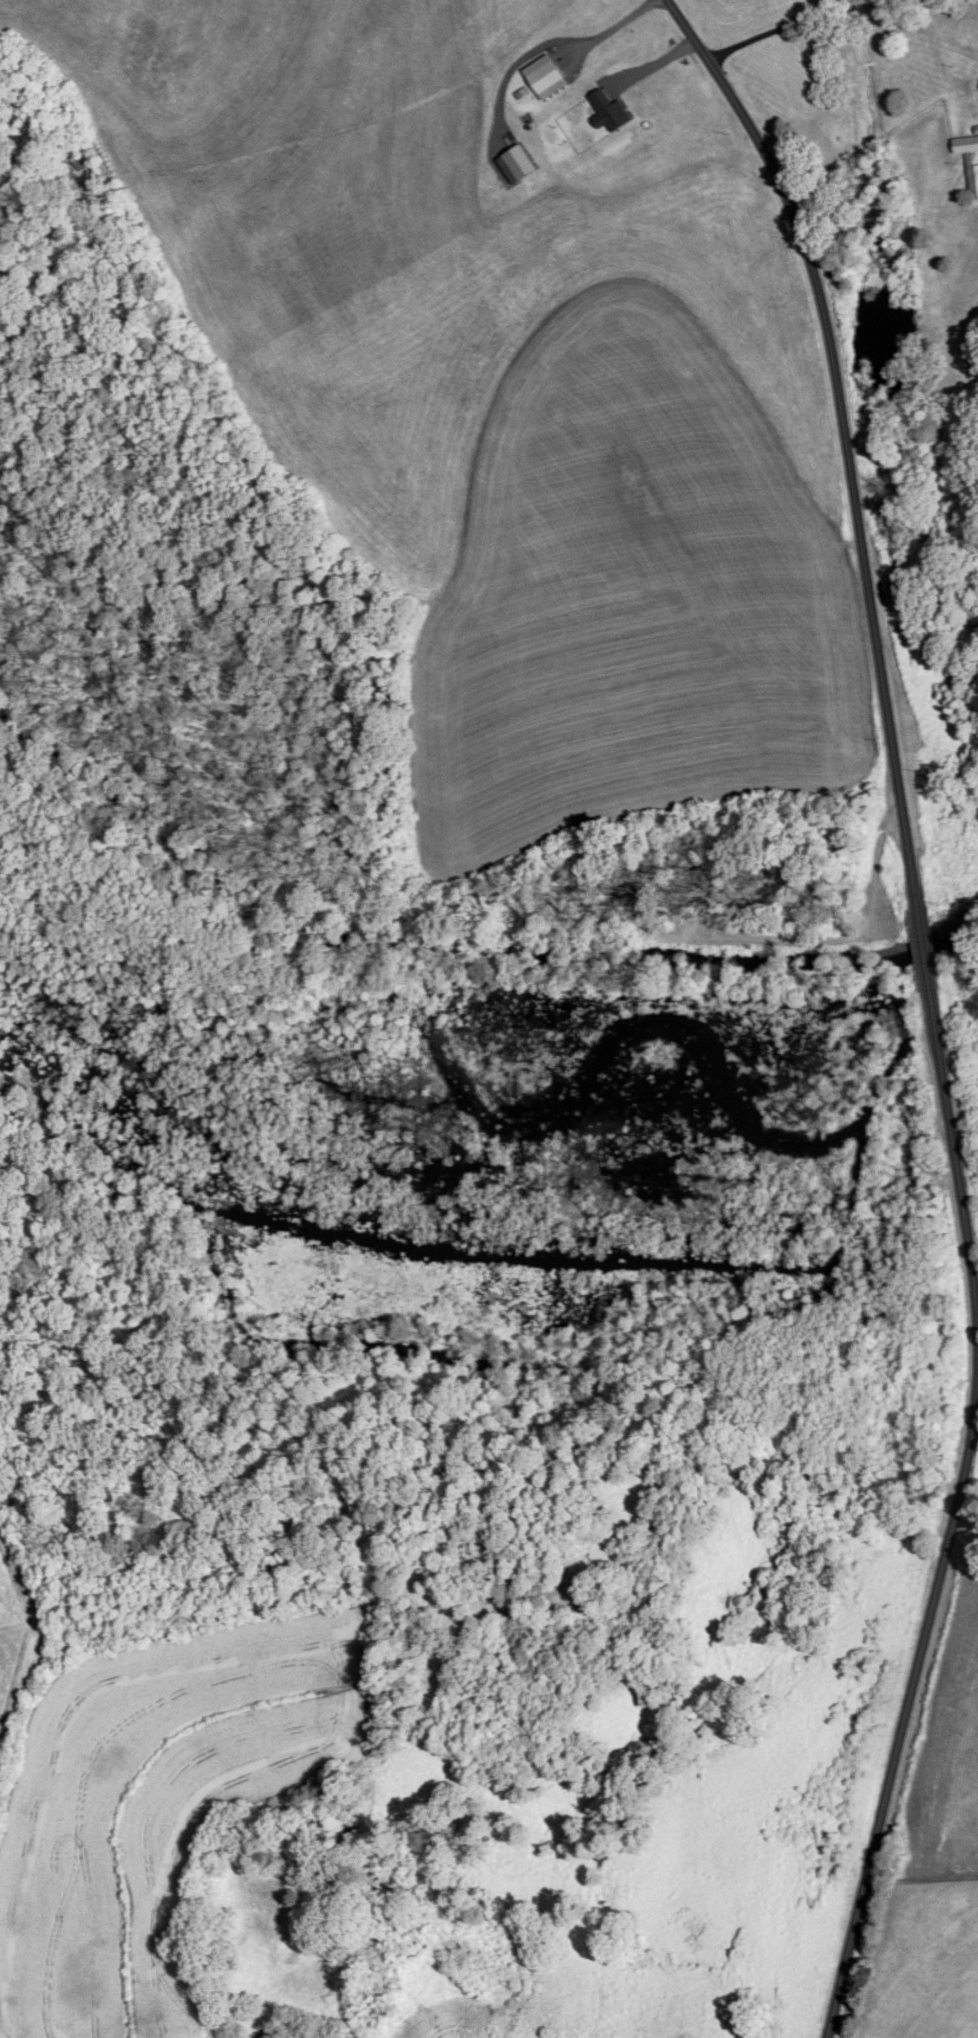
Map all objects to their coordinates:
road: (789, 23)
road: (609, 28)
building: (544, 79)
building: (608, 113)
building: (965, 145)
building: (973, 181)
road: (844, 434)
road: (924, 947)
road: (967, 1513)
road: (953, 1518)
building: (263, 2035)

